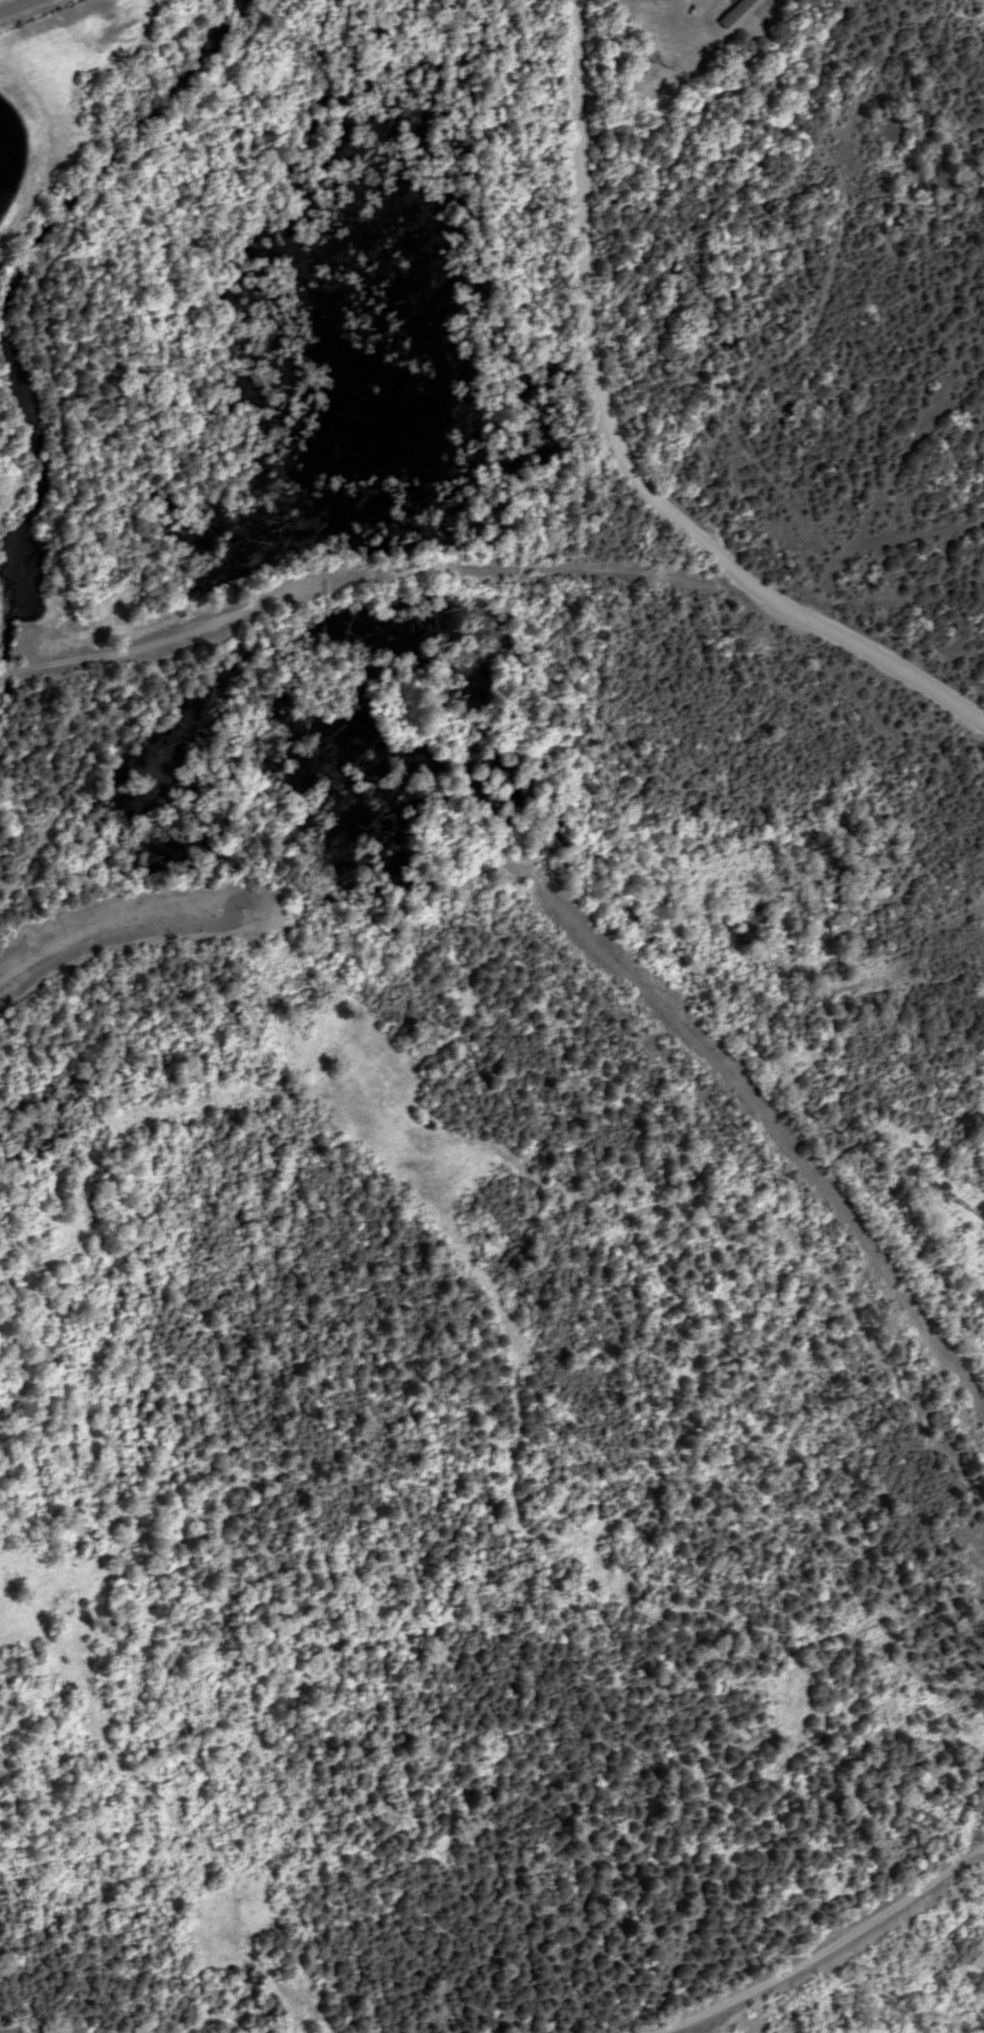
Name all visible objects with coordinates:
road: (15, 5)
road: (960, 28)
road: (629, 447)
road: (914, 460)
road: (982, 2027)

